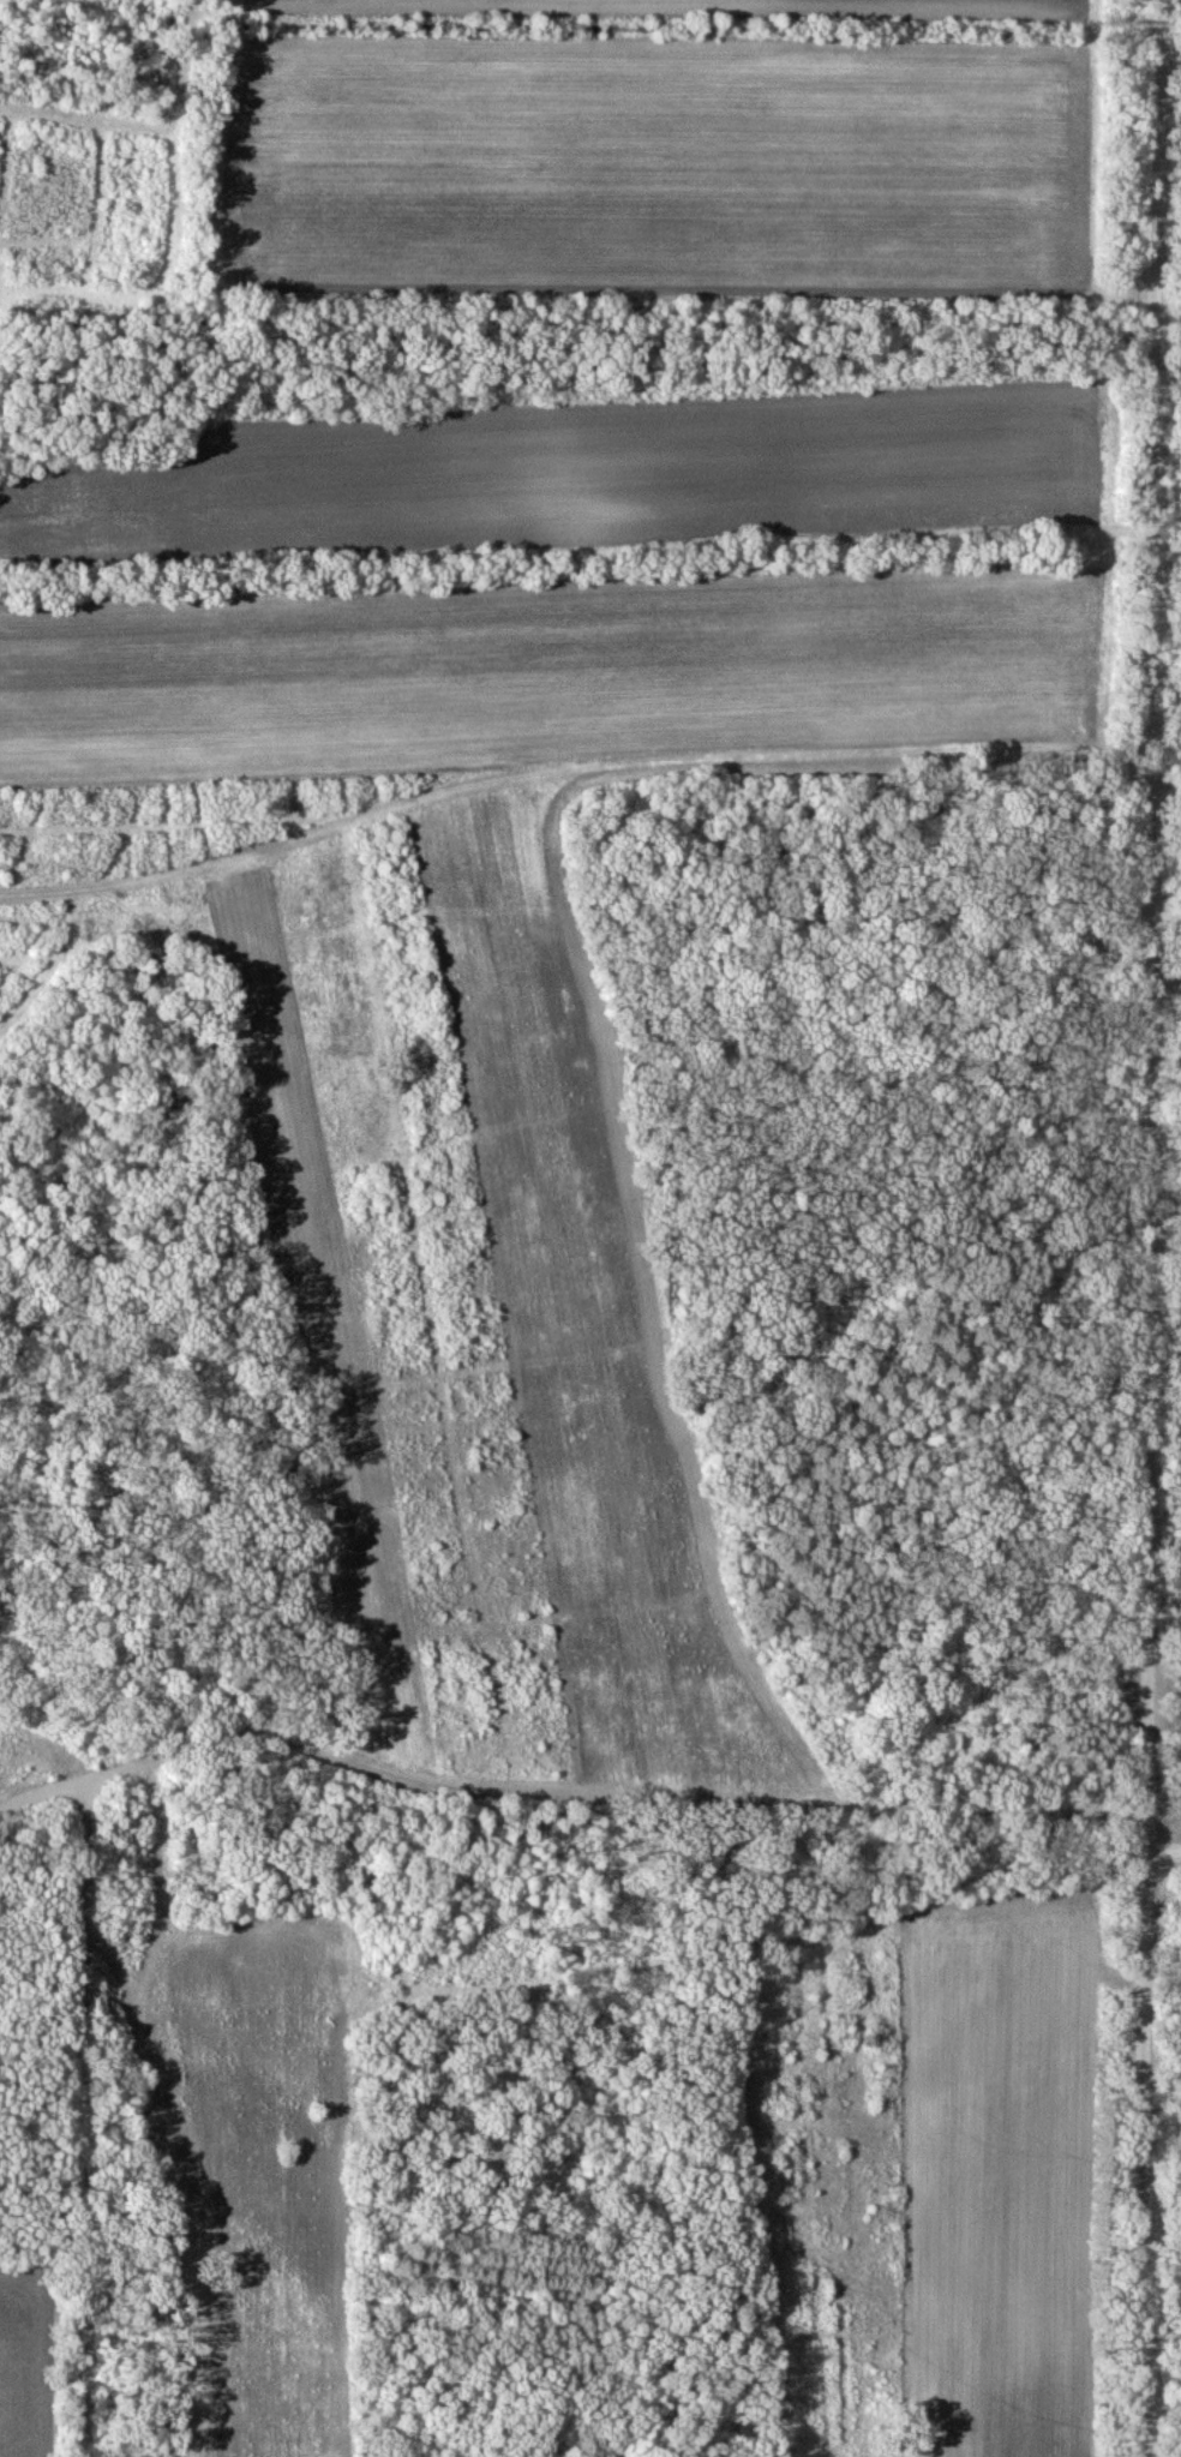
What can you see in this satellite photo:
road: (1151, 1228)
road: (1163, 1847)

